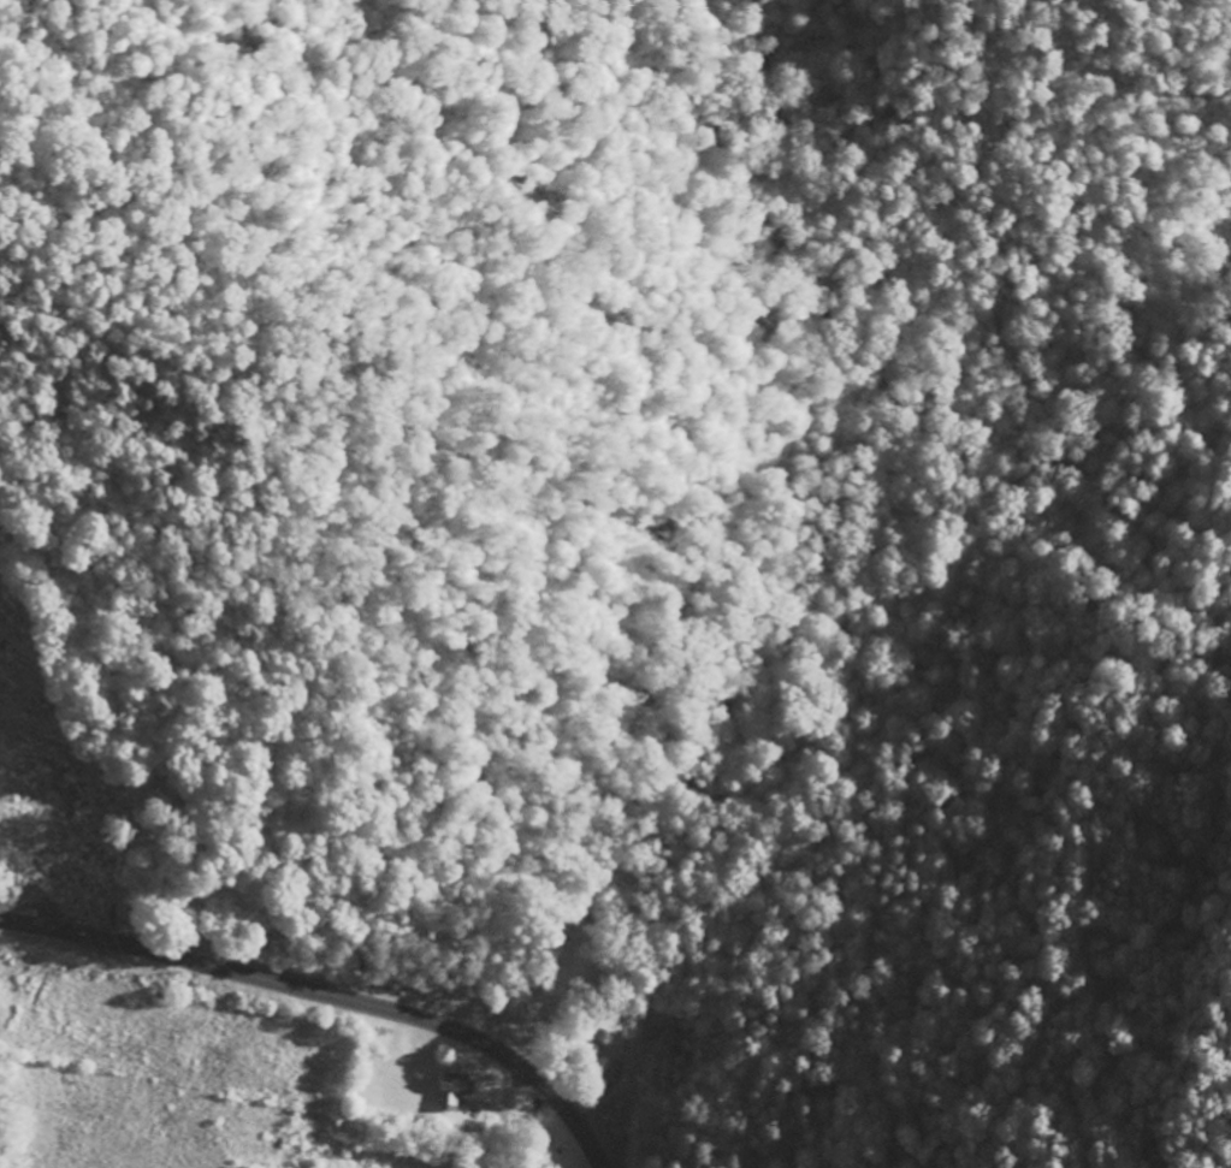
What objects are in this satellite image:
road: (865, 576)
road: (329, 995)
building: (450, 1092)

